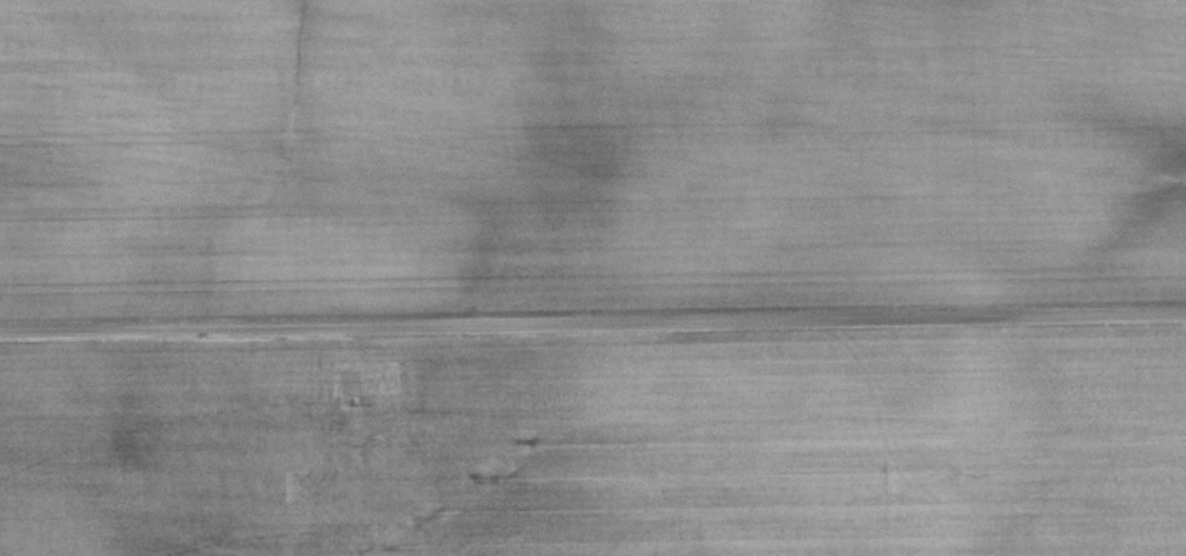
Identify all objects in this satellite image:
road: (592, 321)

